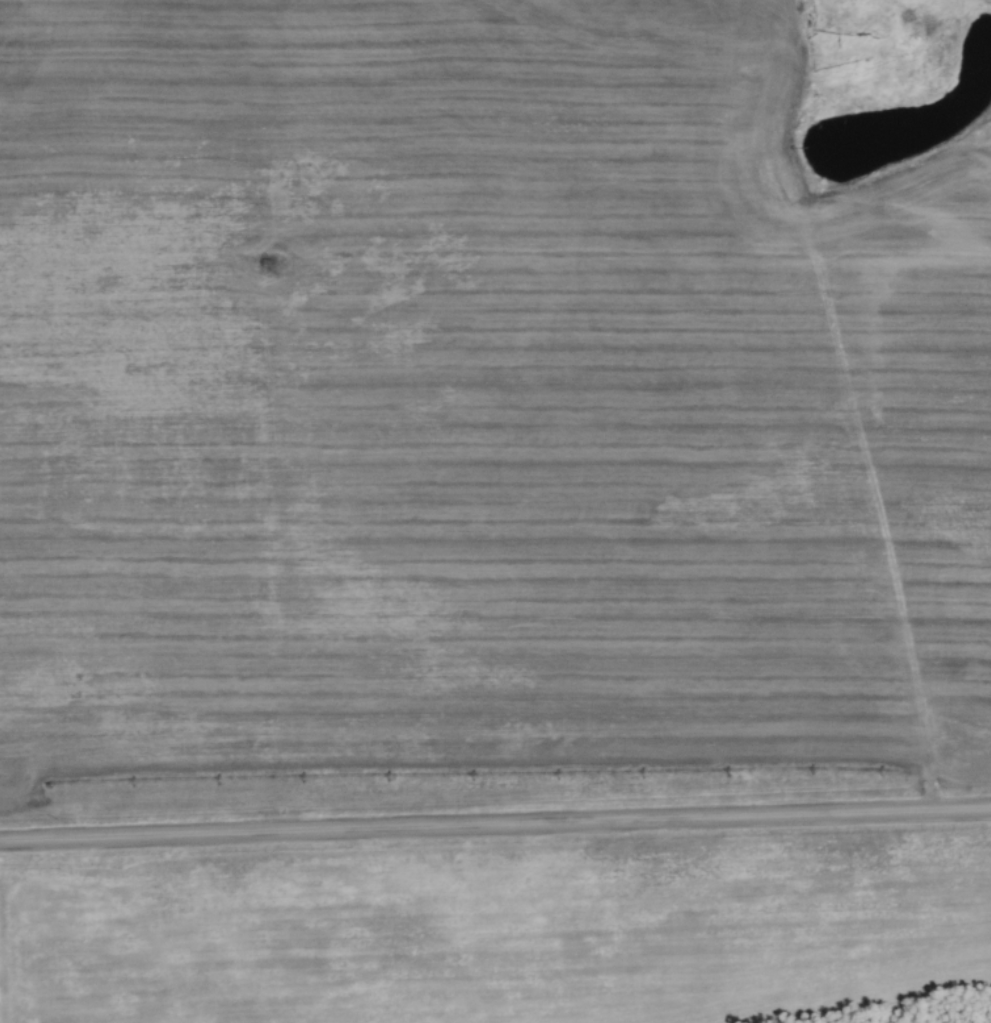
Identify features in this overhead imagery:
building: (822, 46)
crop: (472, 414)
road: (495, 826)

